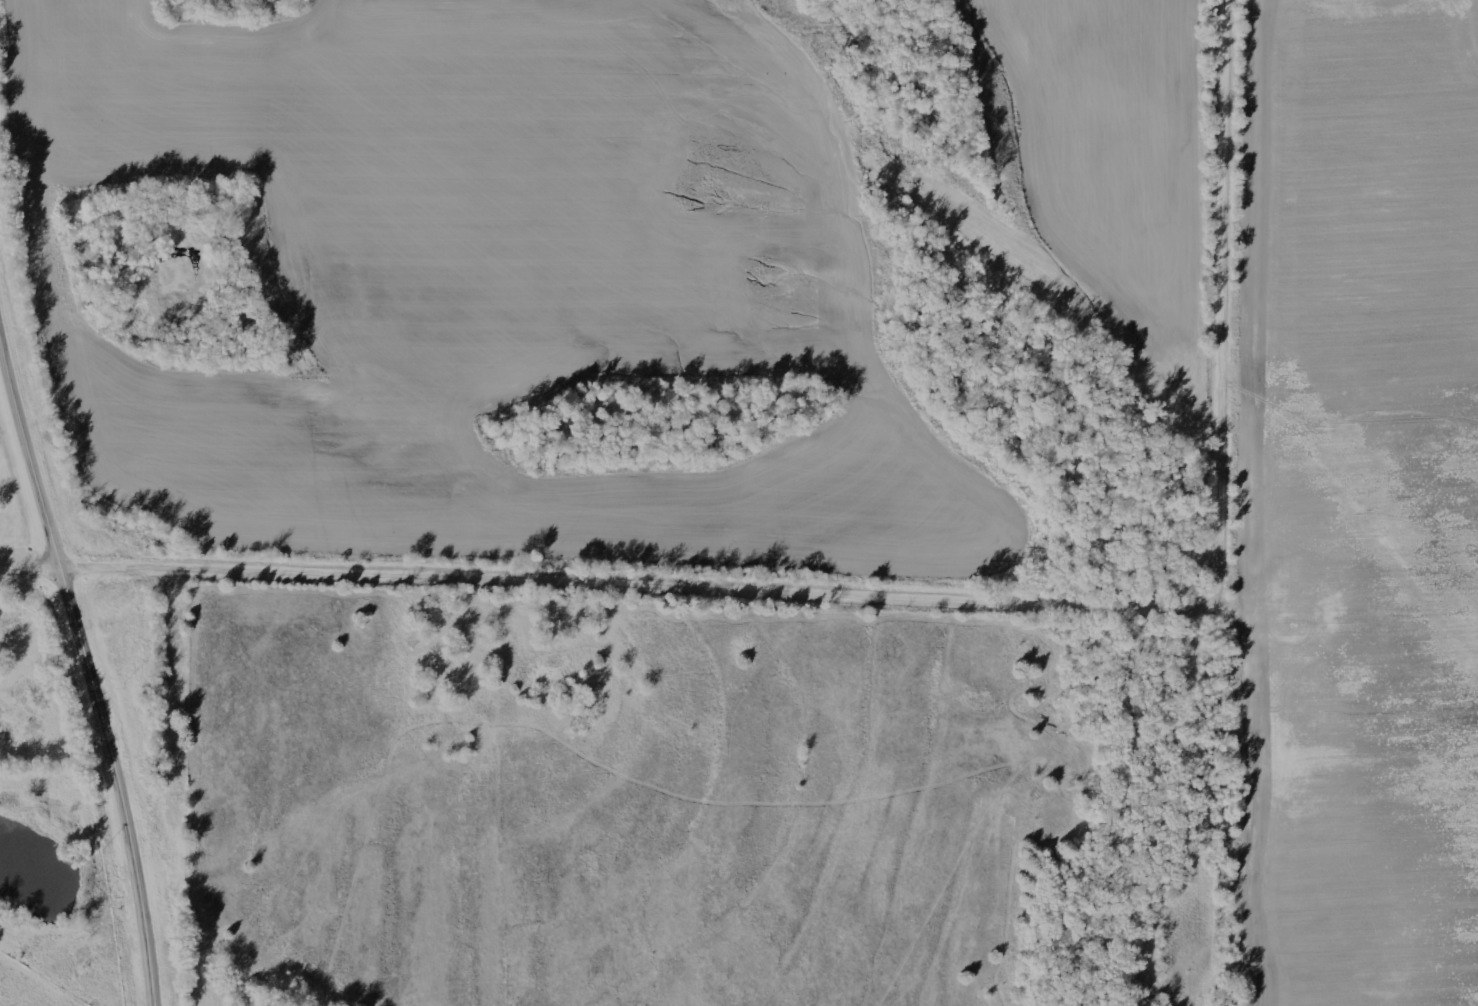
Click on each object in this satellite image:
road: (33, 557)
road: (936, 588)
road: (87, 650)

